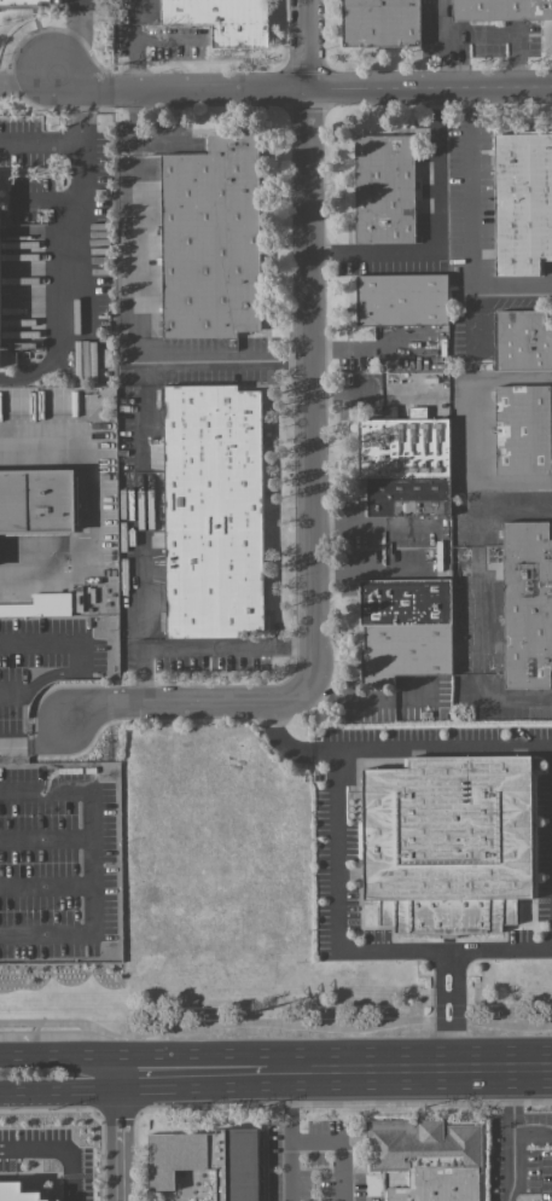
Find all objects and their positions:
building: (29, 2)
building: (506, 13)
building: (222, 19)
building: (382, 23)
road: (506, 34)
road: (76, 39)
road: (138, 43)
road: (443, 43)
road: (27, 74)
road: (300, 88)
road: (82, 114)
road: (39, 140)
building: (155, 170)
building: (384, 188)
building: (522, 202)
road: (469, 222)
road: (436, 232)
building: (210, 238)
road: (77, 284)
building: (401, 298)
road: (139, 309)
road: (308, 338)
building: (522, 340)
road: (370, 348)
building: (7, 359)
road: (472, 428)
building: (522, 429)
building: (403, 465)
building: (36, 499)
road: (88, 500)
building: (213, 511)
road: (515, 514)
road: (414, 526)
road: (348, 527)
road: (144, 532)
road: (411, 569)
road: (347, 570)
building: (527, 604)
building: (40, 605)
road: (476, 605)
building: (403, 627)
road: (228, 646)
road: (86, 656)
road: (516, 695)
road: (367, 698)
road: (196, 702)
road: (43, 743)
road: (395, 749)
building: (447, 841)
road: (94, 861)
road: (47, 889)
road: (336, 901)
road: (495, 947)
road: (457, 1005)
road: (440, 1008)
power tower: (245, 1013)
road: (274, 1021)
road: (57, 1058)
road: (531, 1062)
road: (366, 1068)
road: (165, 1073)
road: (58, 1090)
road: (512, 1116)
road: (287, 1136)
road: (114, 1137)
road: (339, 1143)
road: (59, 1155)
building: (426, 1158)
building: (209, 1160)
road: (510, 1165)

